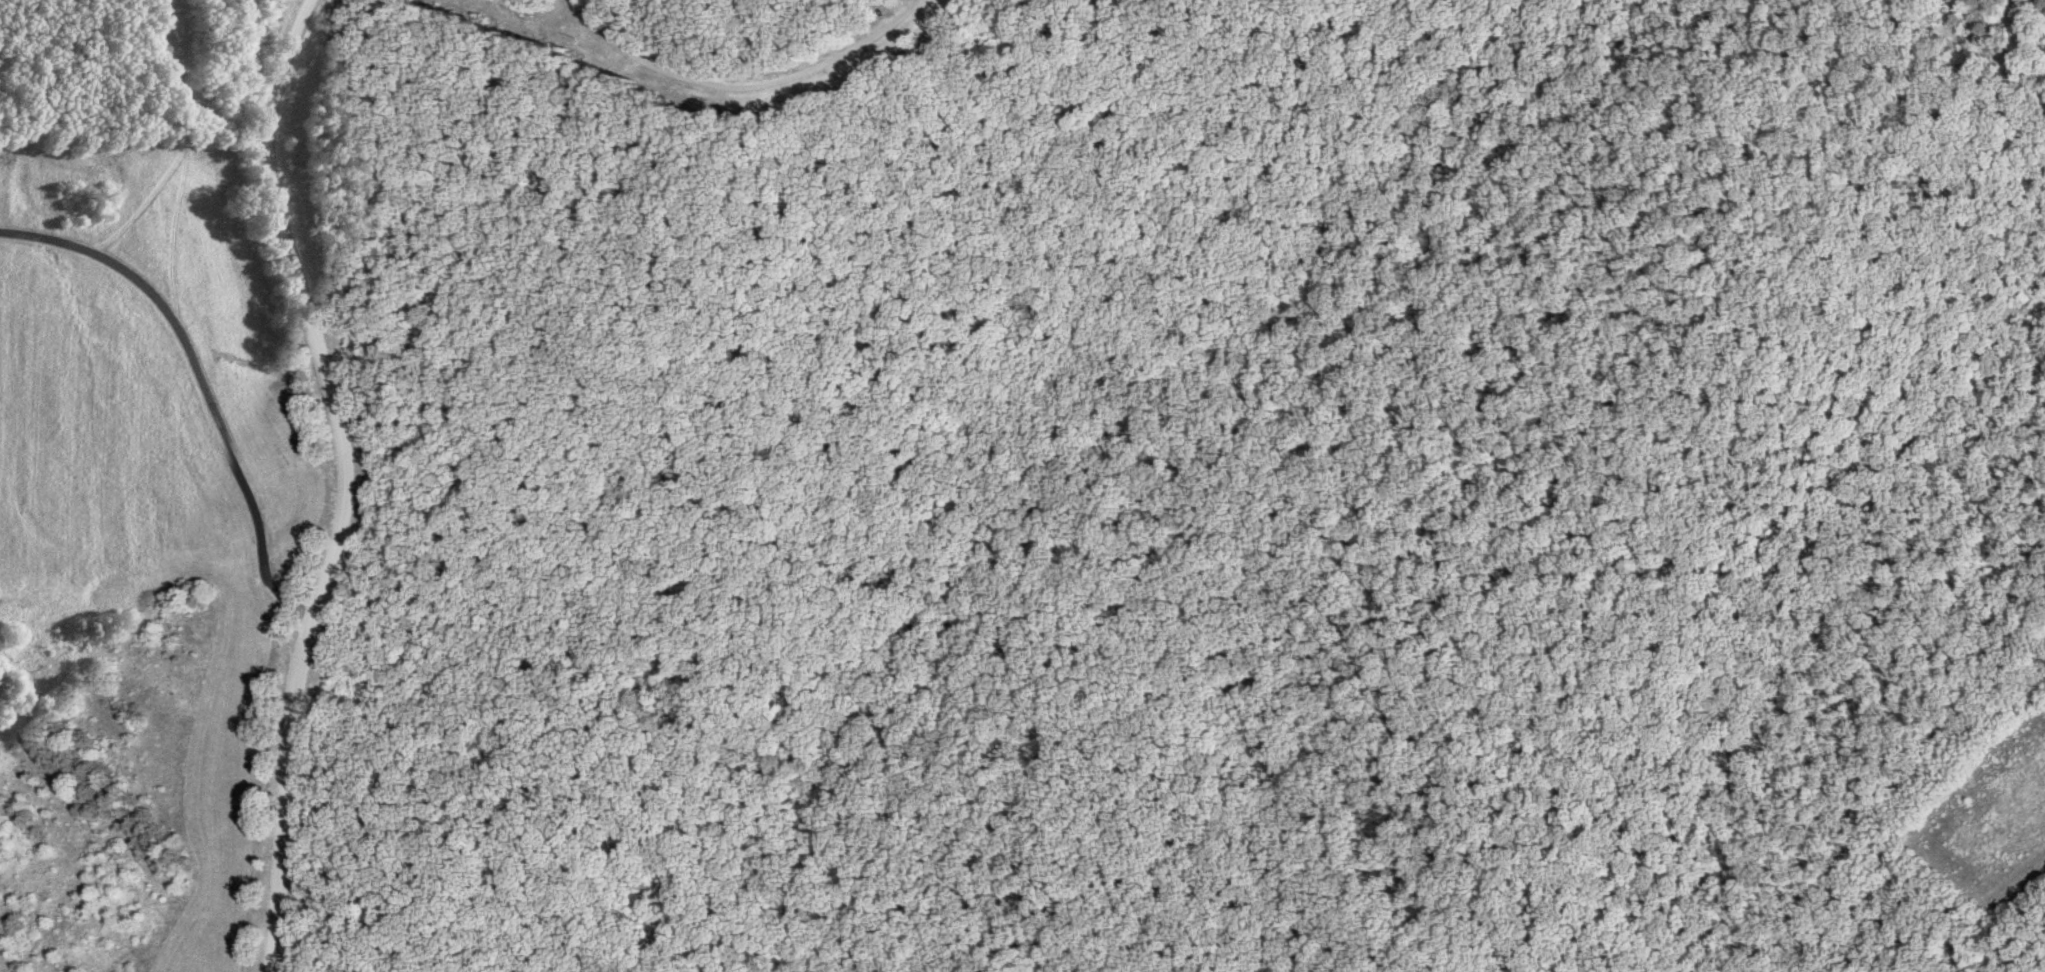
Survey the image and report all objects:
road: (199, 383)
road: (344, 481)

